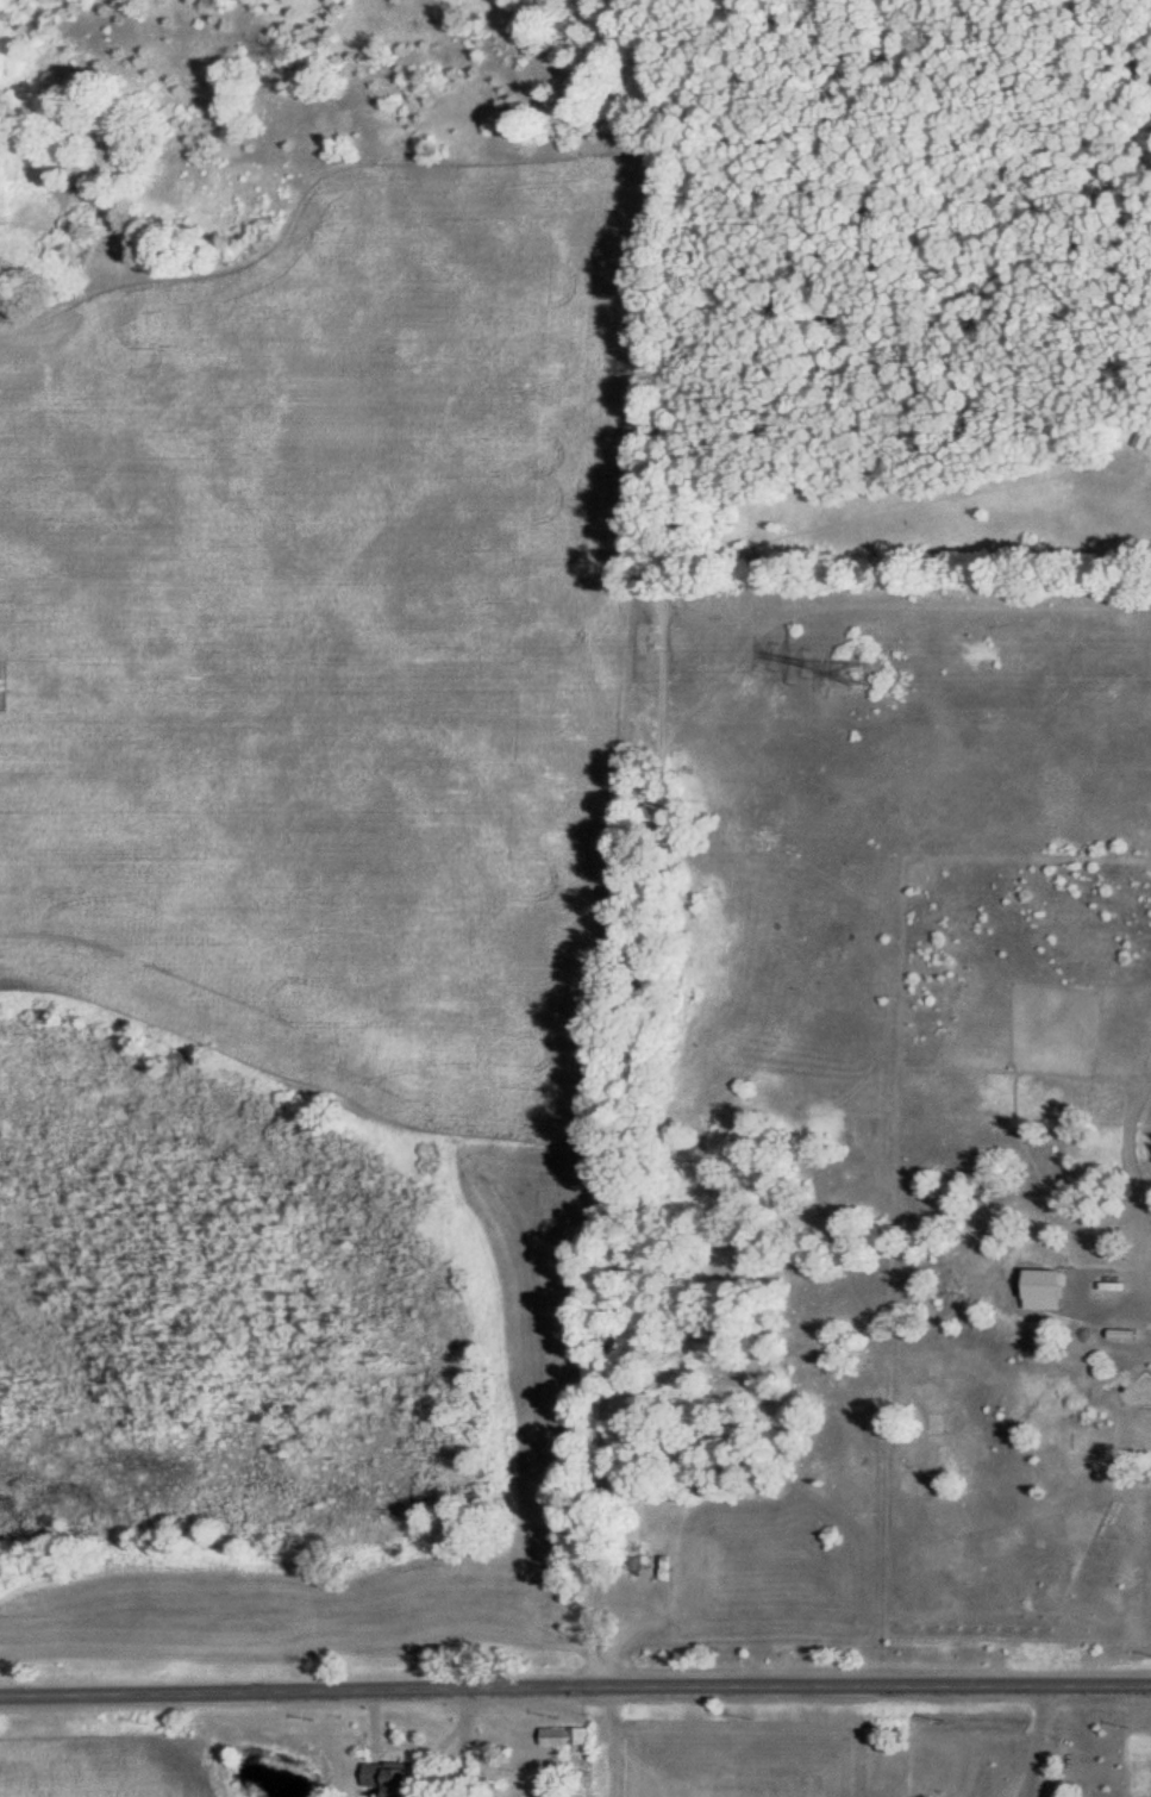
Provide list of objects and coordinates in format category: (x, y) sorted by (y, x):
building: (1145, 441)
power tower: (853, 674)
road: (634, 843)
building: (674, 1583)
road: (575, 1691)
road: (1041, 1743)
building: (576, 1755)
crop: (104, 1760)
building: (398, 1780)

